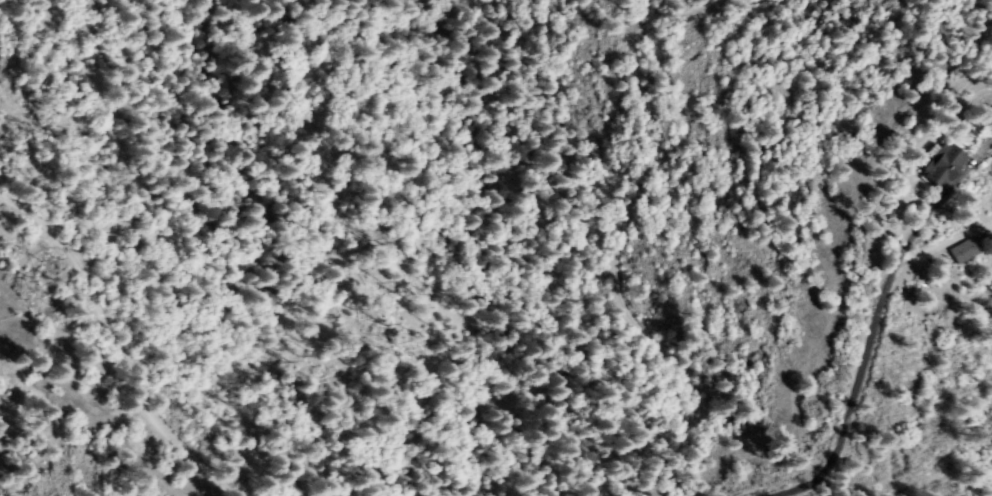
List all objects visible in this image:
building: (991, 106)
building: (945, 167)
building: (965, 251)
road: (119, 343)

